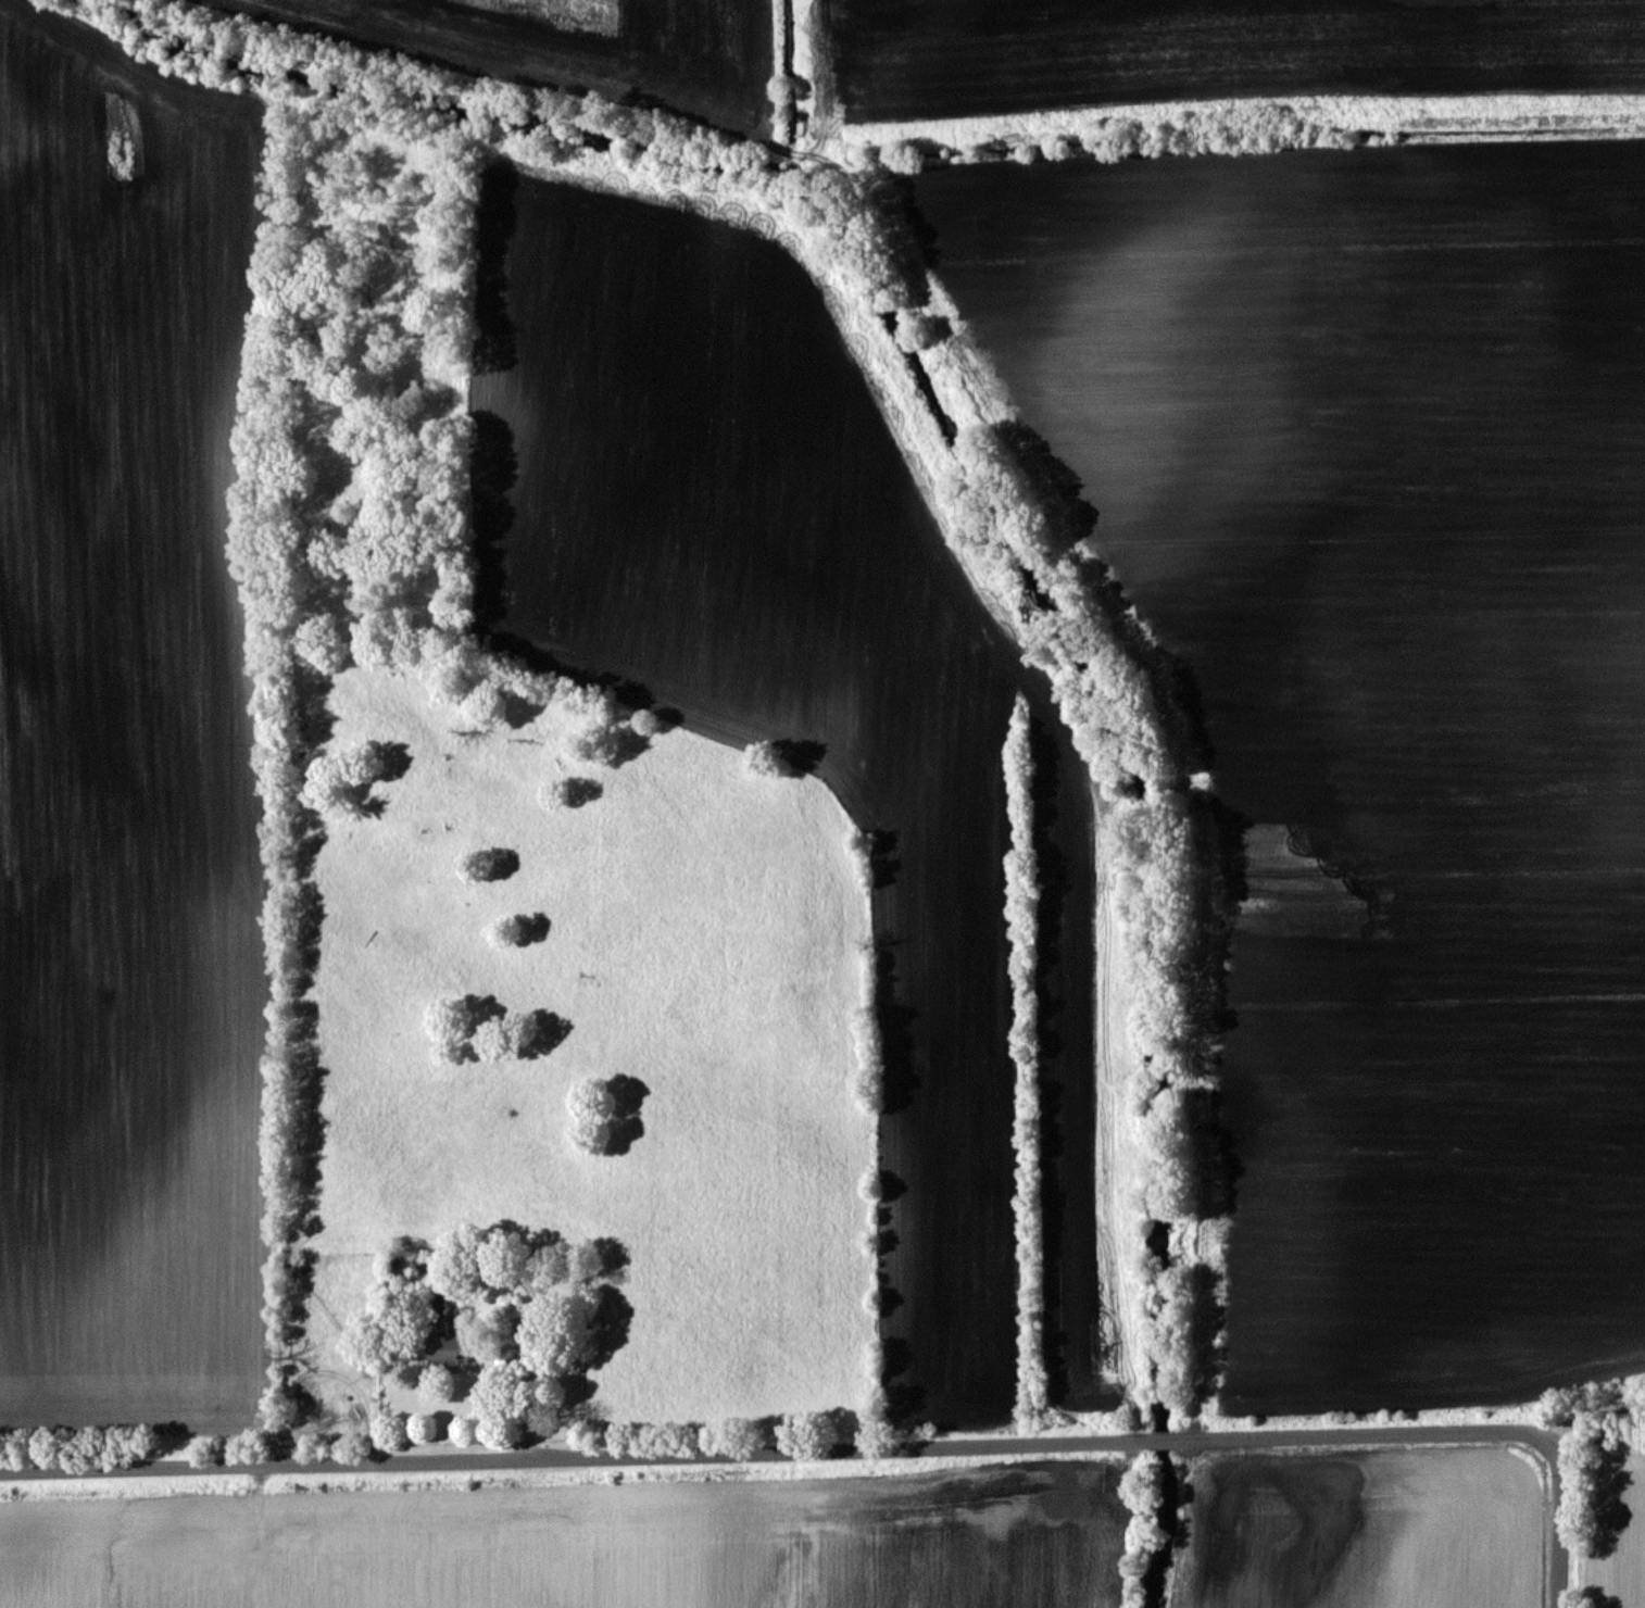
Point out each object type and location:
crop: (135, 742)
building: (450, 1349)
road: (1592, 1431)
road: (786, 1453)
road: (1560, 1535)
crop: (588, 1543)

